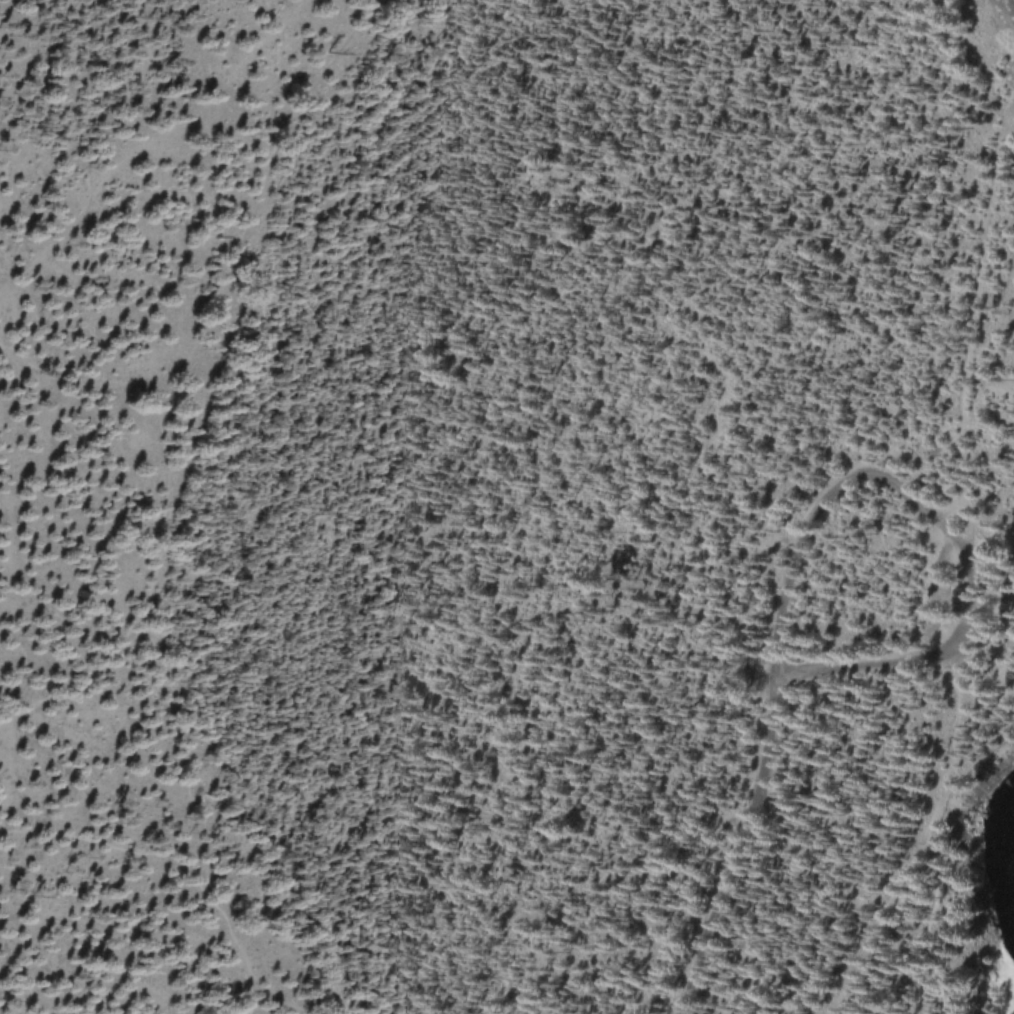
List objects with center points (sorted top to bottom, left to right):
road: (976, 329)
road: (187, 375)
road: (941, 521)
parking lot: (948, 595)
road: (958, 720)
road: (977, 759)
road: (741, 847)
road: (192, 867)
road: (935, 904)
road: (889, 907)

